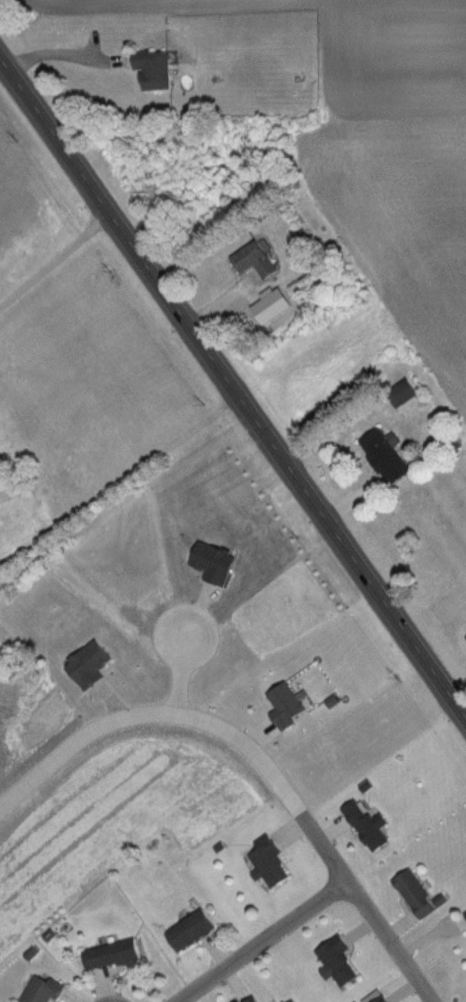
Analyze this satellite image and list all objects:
road: (57, 54)
building: (157, 69)
crop: (388, 157)
road: (55, 259)
building: (258, 259)
road: (233, 389)
building: (386, 457)
road: (177, 673)
road: (154, 712)
building: (370, 826)
building: (271, 864)
building: (420, 895)
road: (366, 906)
building: (194, 930)
road: (252, 938)
building: (113, 955)
building: (340, 962)
building: (43, 990)
building: (254, 999)
building: (384, 999)

